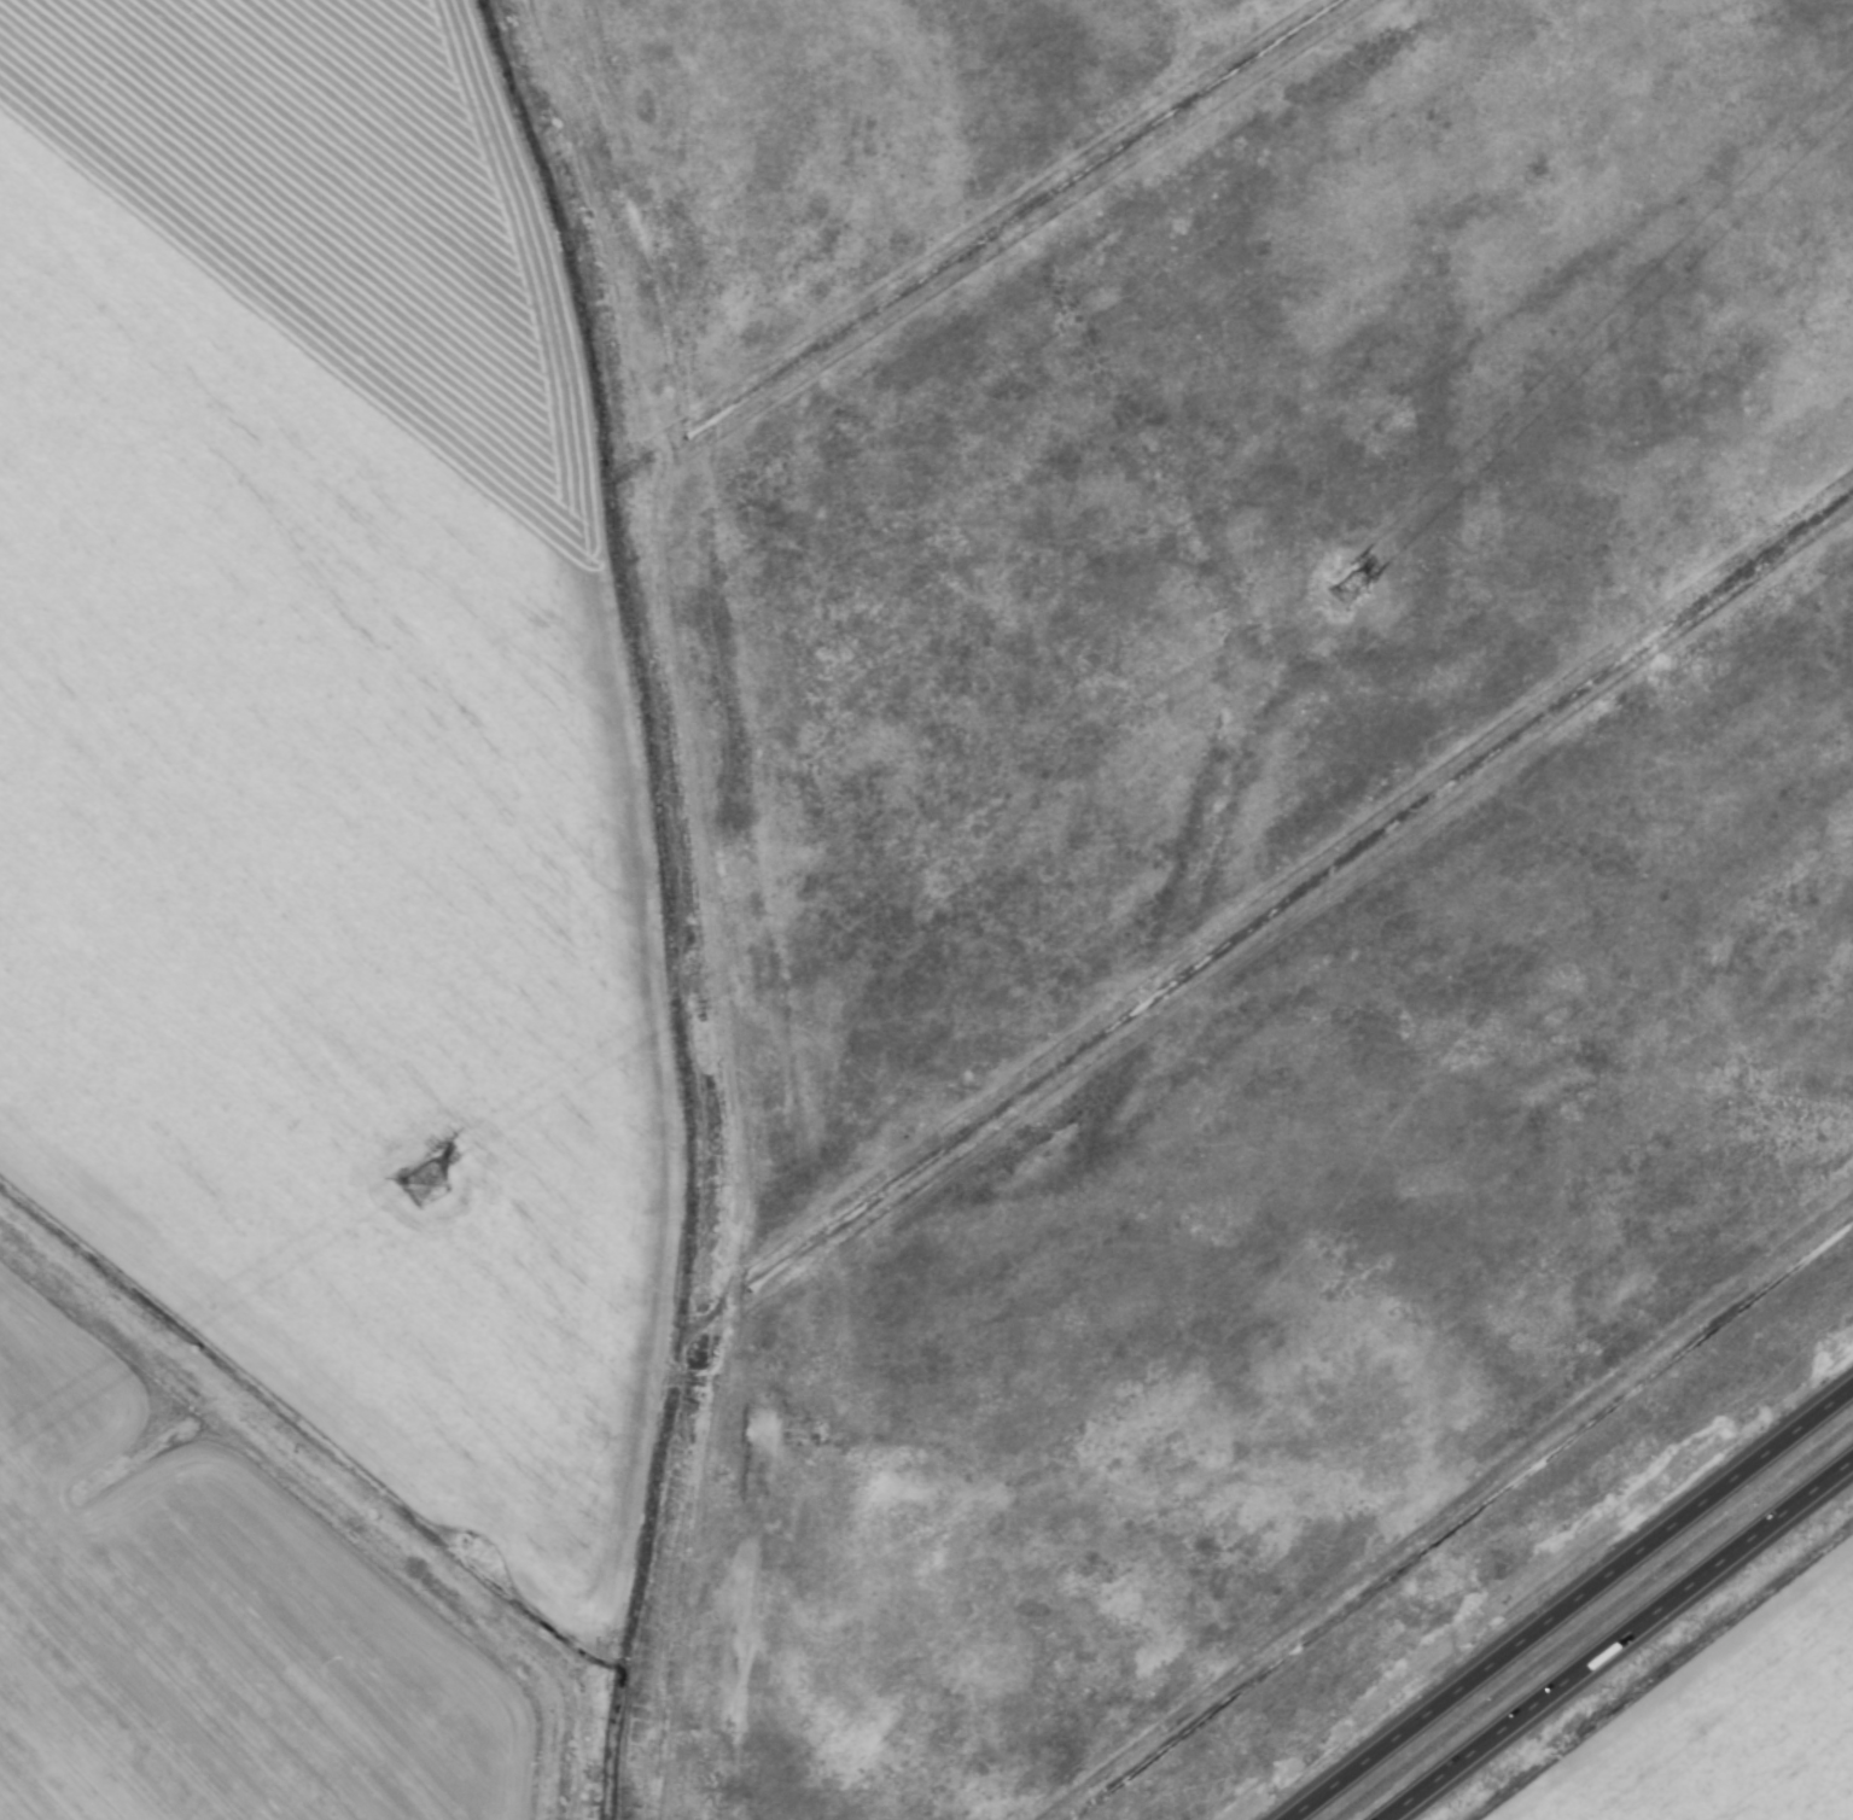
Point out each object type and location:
power tower: (1351, 590)
power tower: (429, 1183)
road: (1571, 1603)
road: (1620, 1641)

